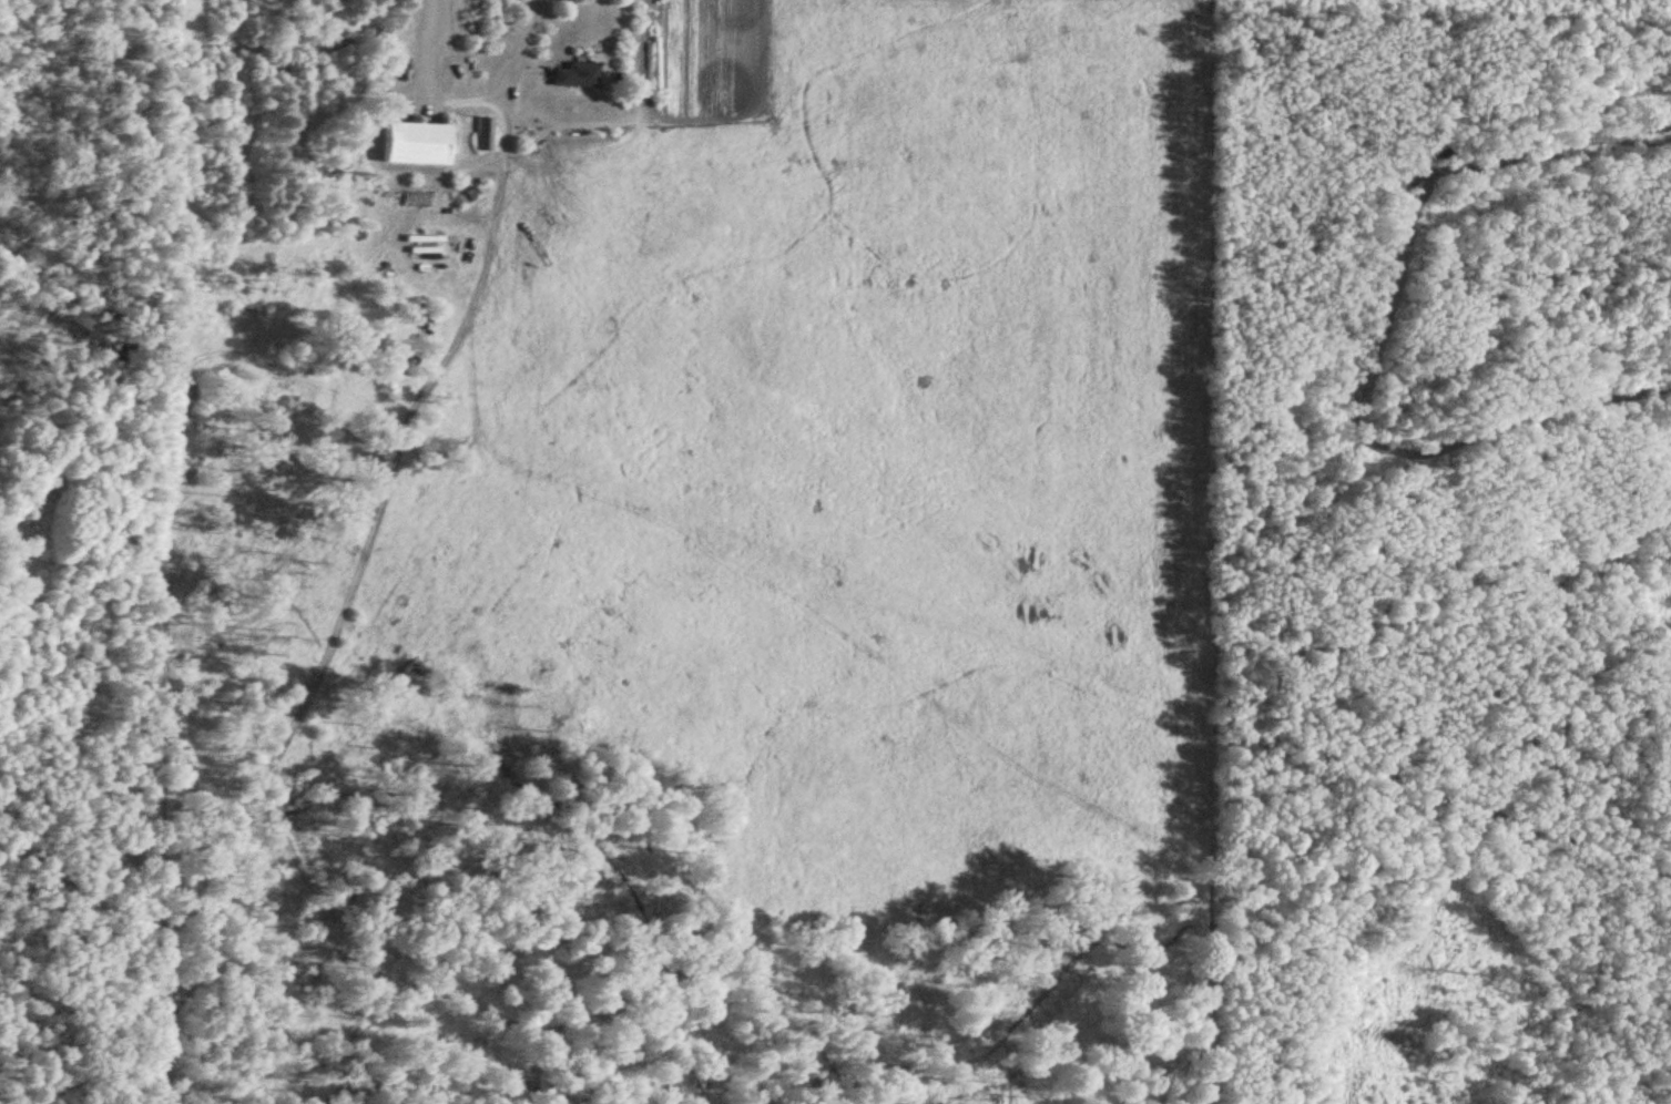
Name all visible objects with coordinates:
building: (577, 73)
road: (467, 95)
building: (482, 133)
building: (417, 142)

